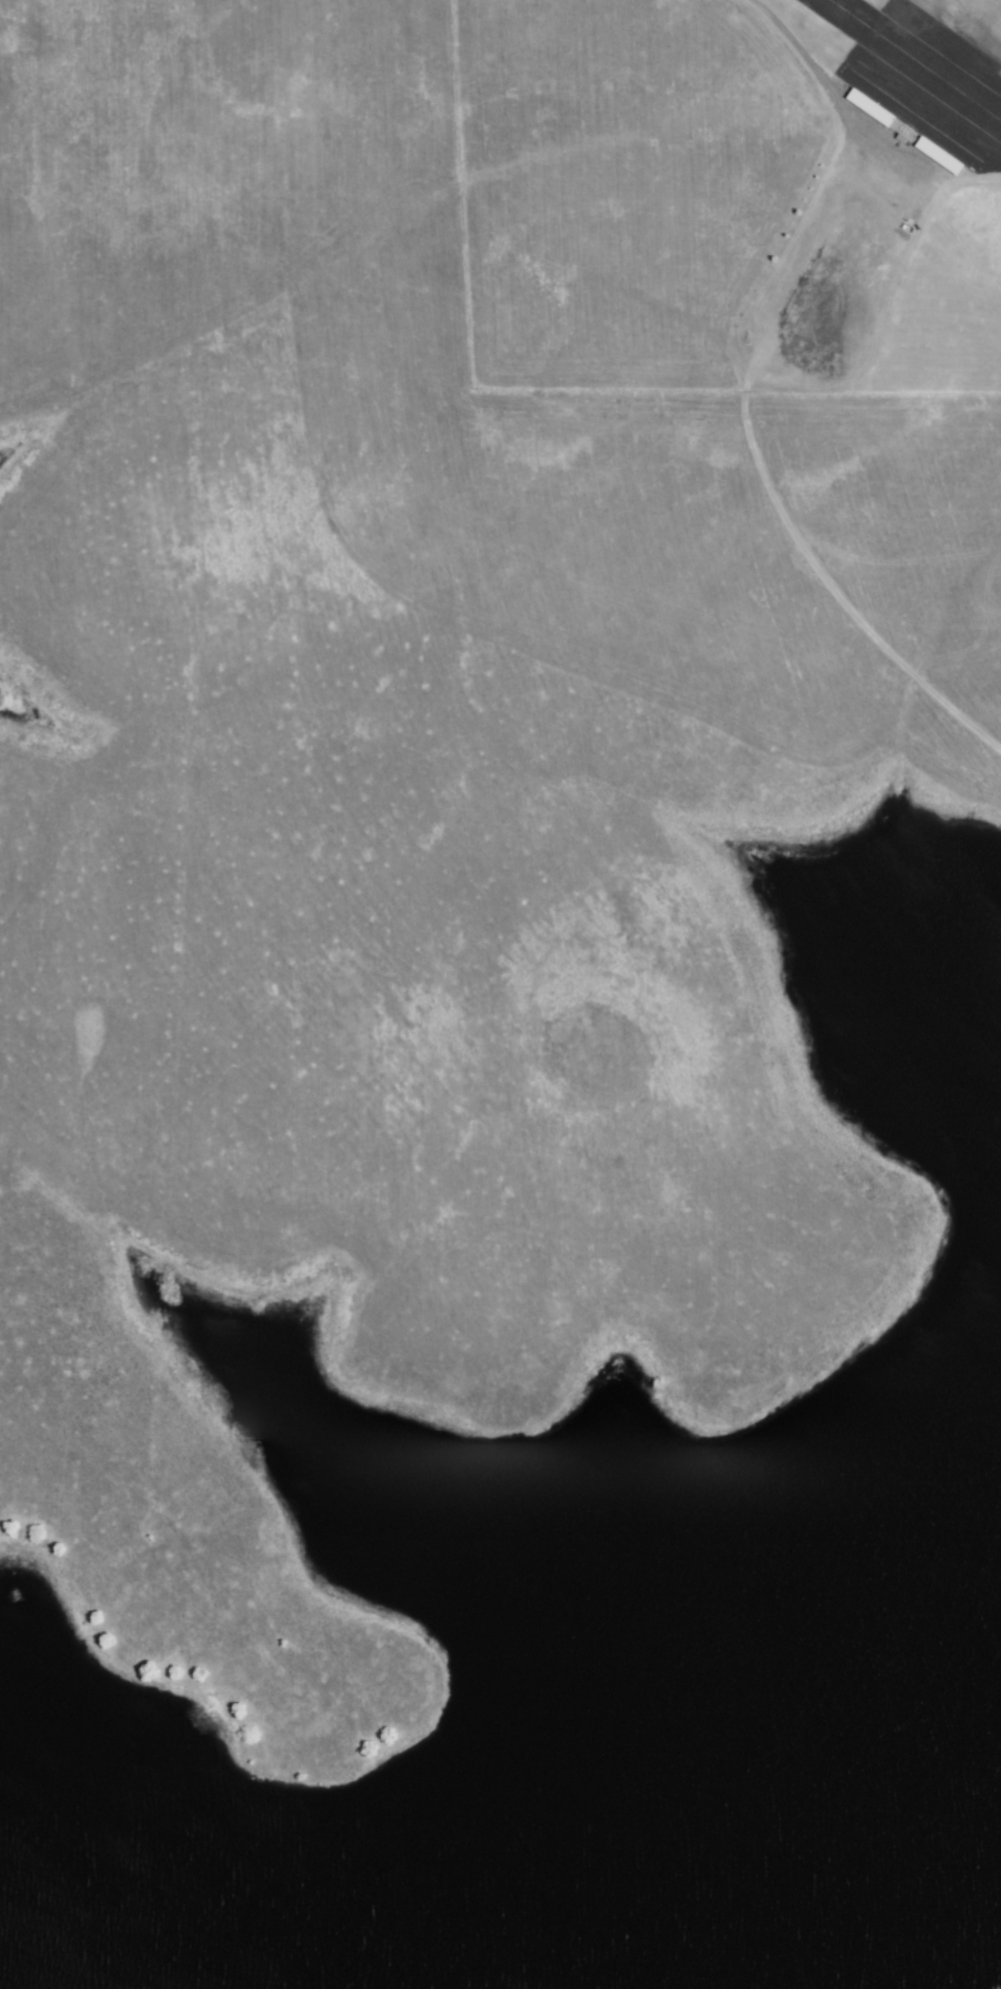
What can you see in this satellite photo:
road: (826, 81)
building: (870, 107)
building: (938, 155)

